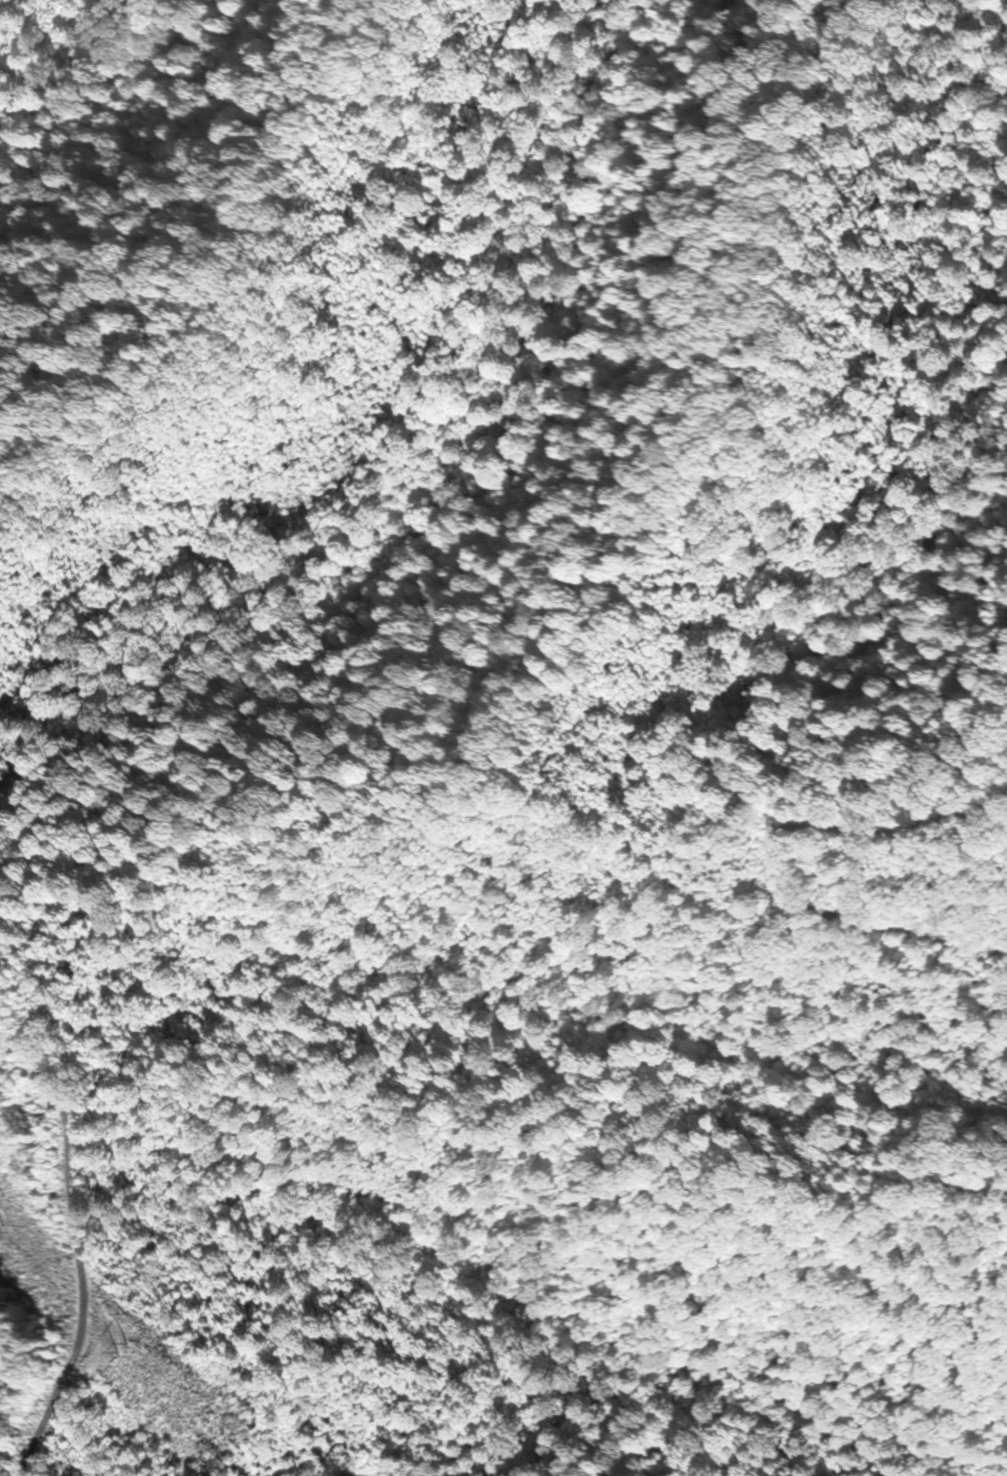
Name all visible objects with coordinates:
road: (77, 1238)

